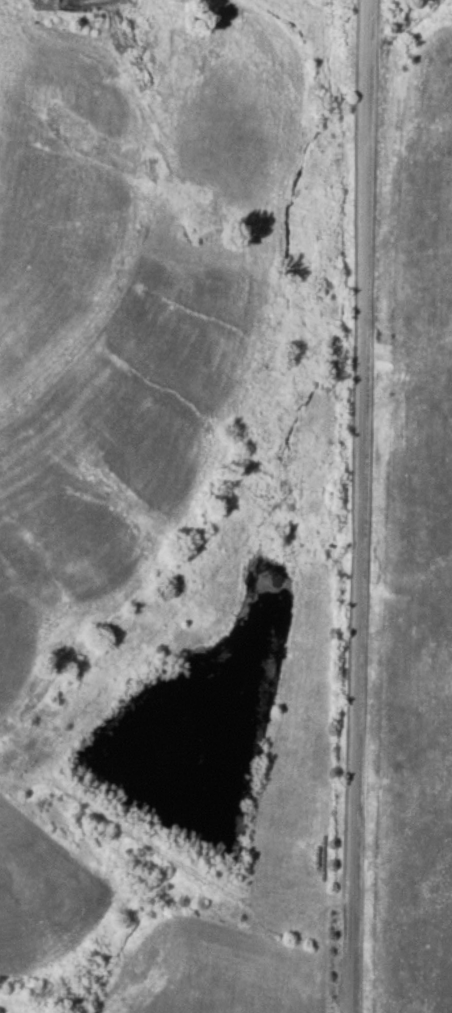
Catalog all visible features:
road: (363, 506)

